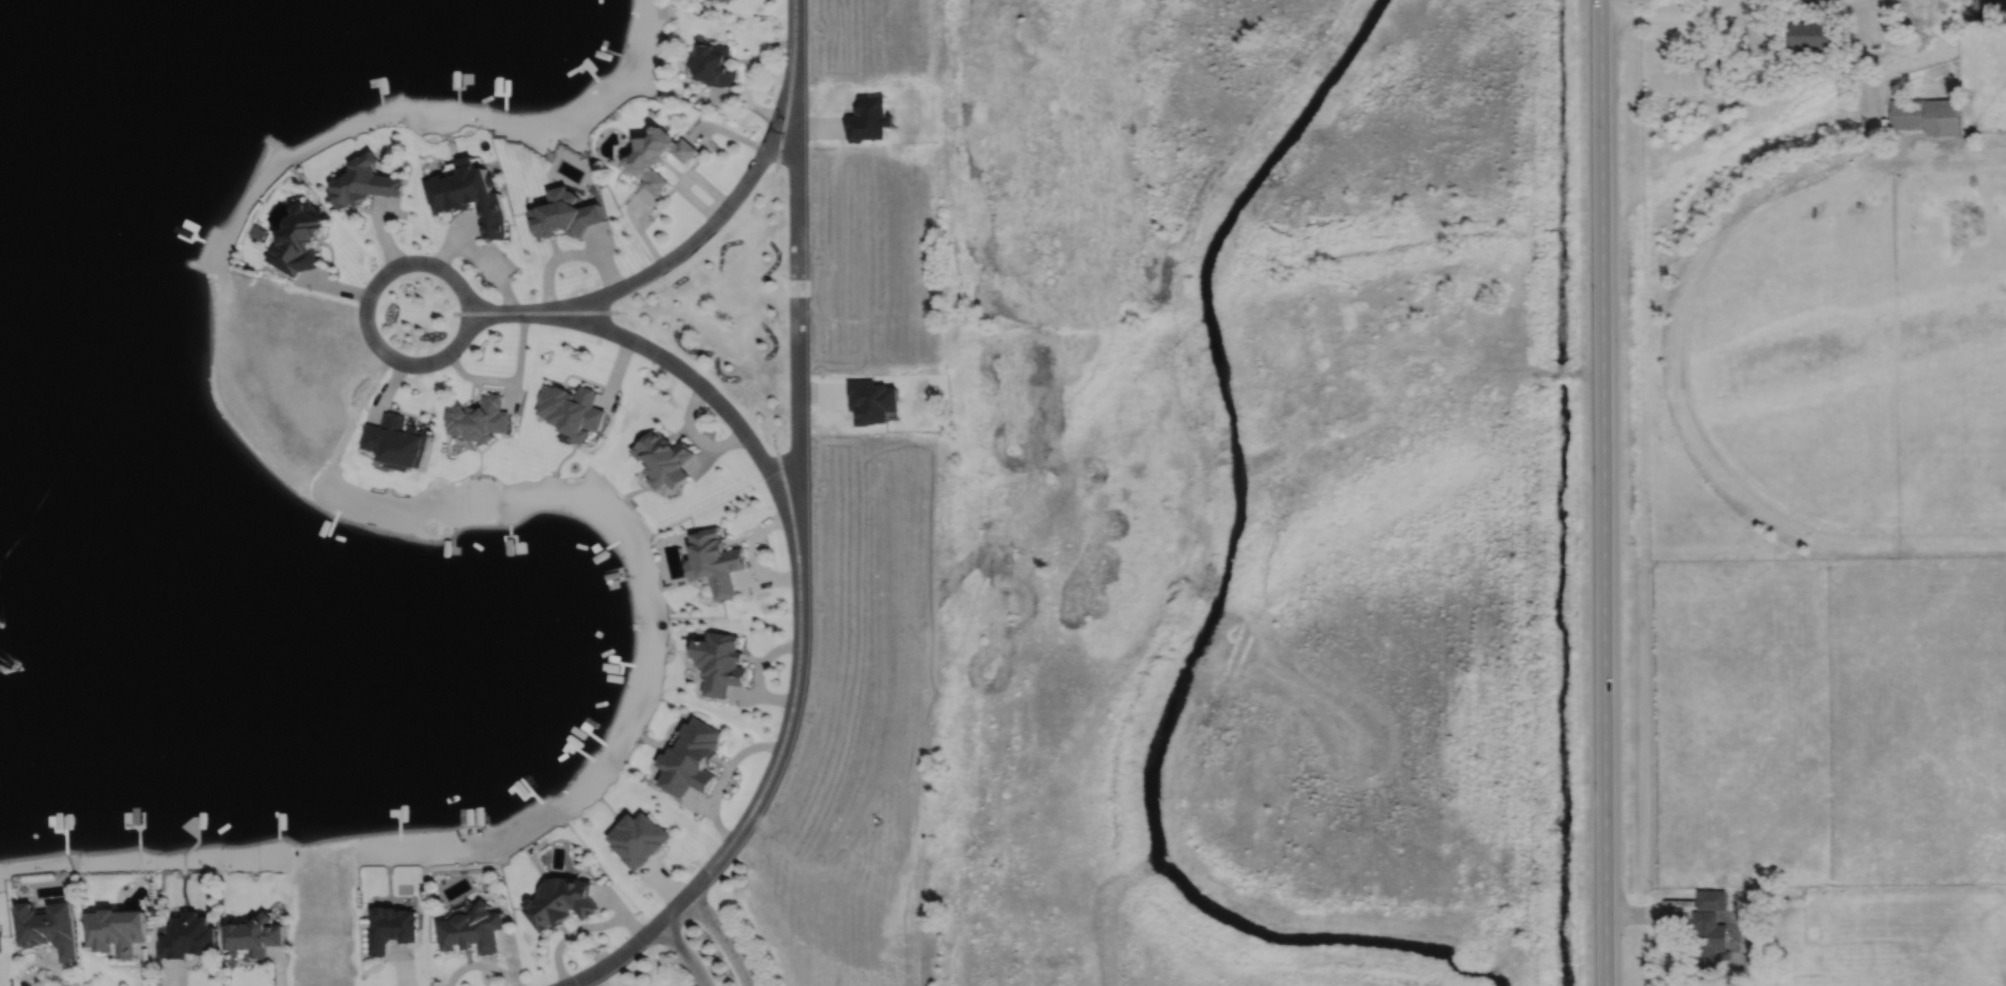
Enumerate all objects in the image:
building: (726, 0)
road: (1730, 7)
road: (1783, 9)
building: (1811, 31)
building: (715, 64)
building: (1710, 69)
road: (748, 74)
building: (1908, 112)
building: (1943, 114)
road: (729, 131)
building: (658, 154)
road: (685, 178)
building: (365, 181)
building: (468, 192)
building: (564, 212)
road: (717, 216)
road: (642, 234)
building: (301, 239)
road: (365, 311)
road: (692, 379)
building: (572, 410)
building: (480, 419)
building: (397, 442)
building: (665, 458)
road: (800, 482)
road: (1602, 493)
building: (716, 562)
building: (722, 664)
building: (692, 758)
building: (638, 836)
building: (1754, 896)
building: (1712, 897)
building: (561, 899)
building: (47, 925)
building: (391, 925)
building: (116, 927)
building: (472, 927)
building: (255, 933)
building: (187, 934)
road: (723, 936)
building: (1709, 939)
road: (684, 951)
road: (613, 957)
building: (1888, 970)

